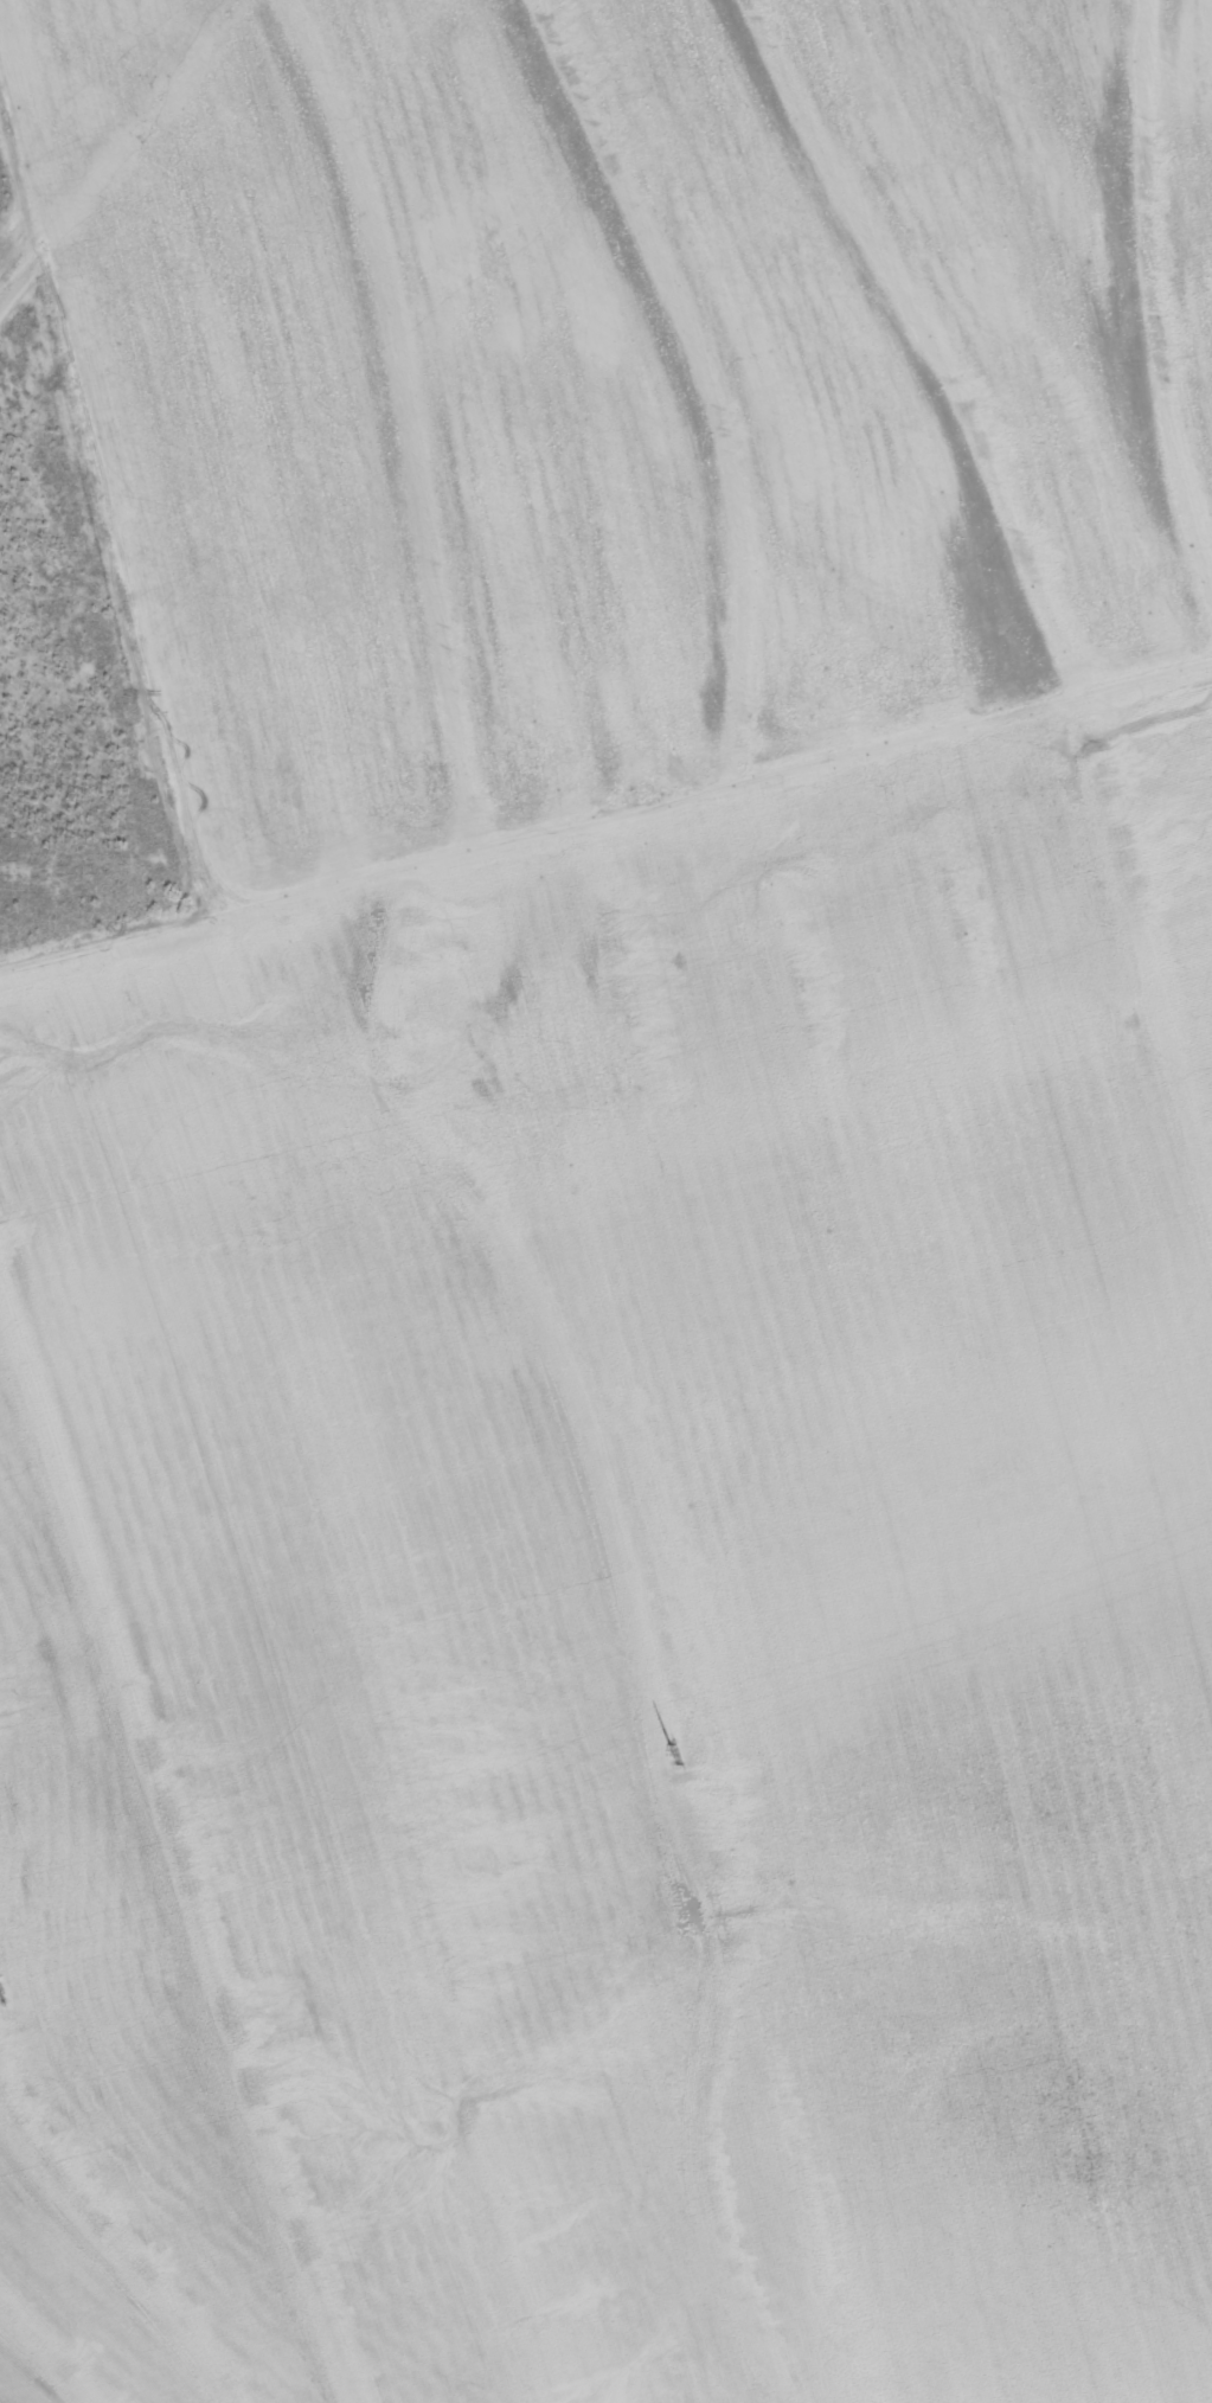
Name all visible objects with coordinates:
power tower: (674, 1751)
power tower: (0, 1992)

